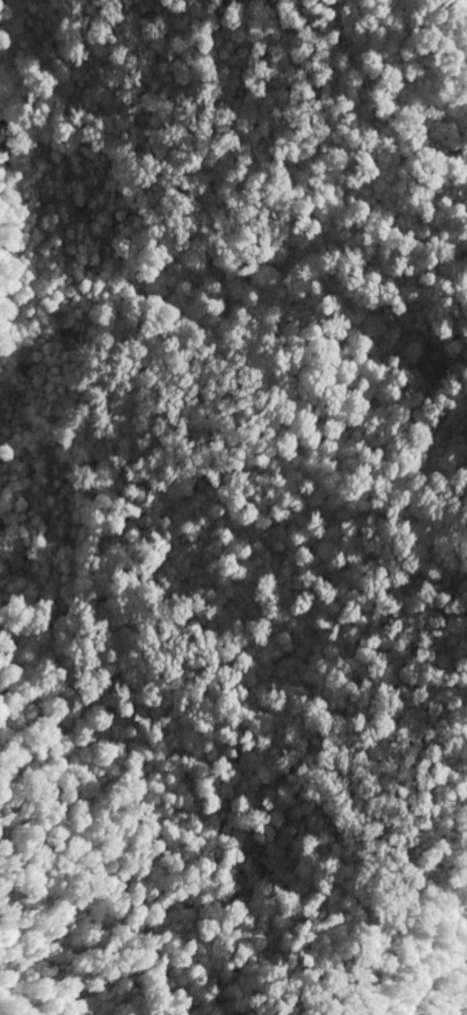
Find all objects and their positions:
road: (182, 72)

